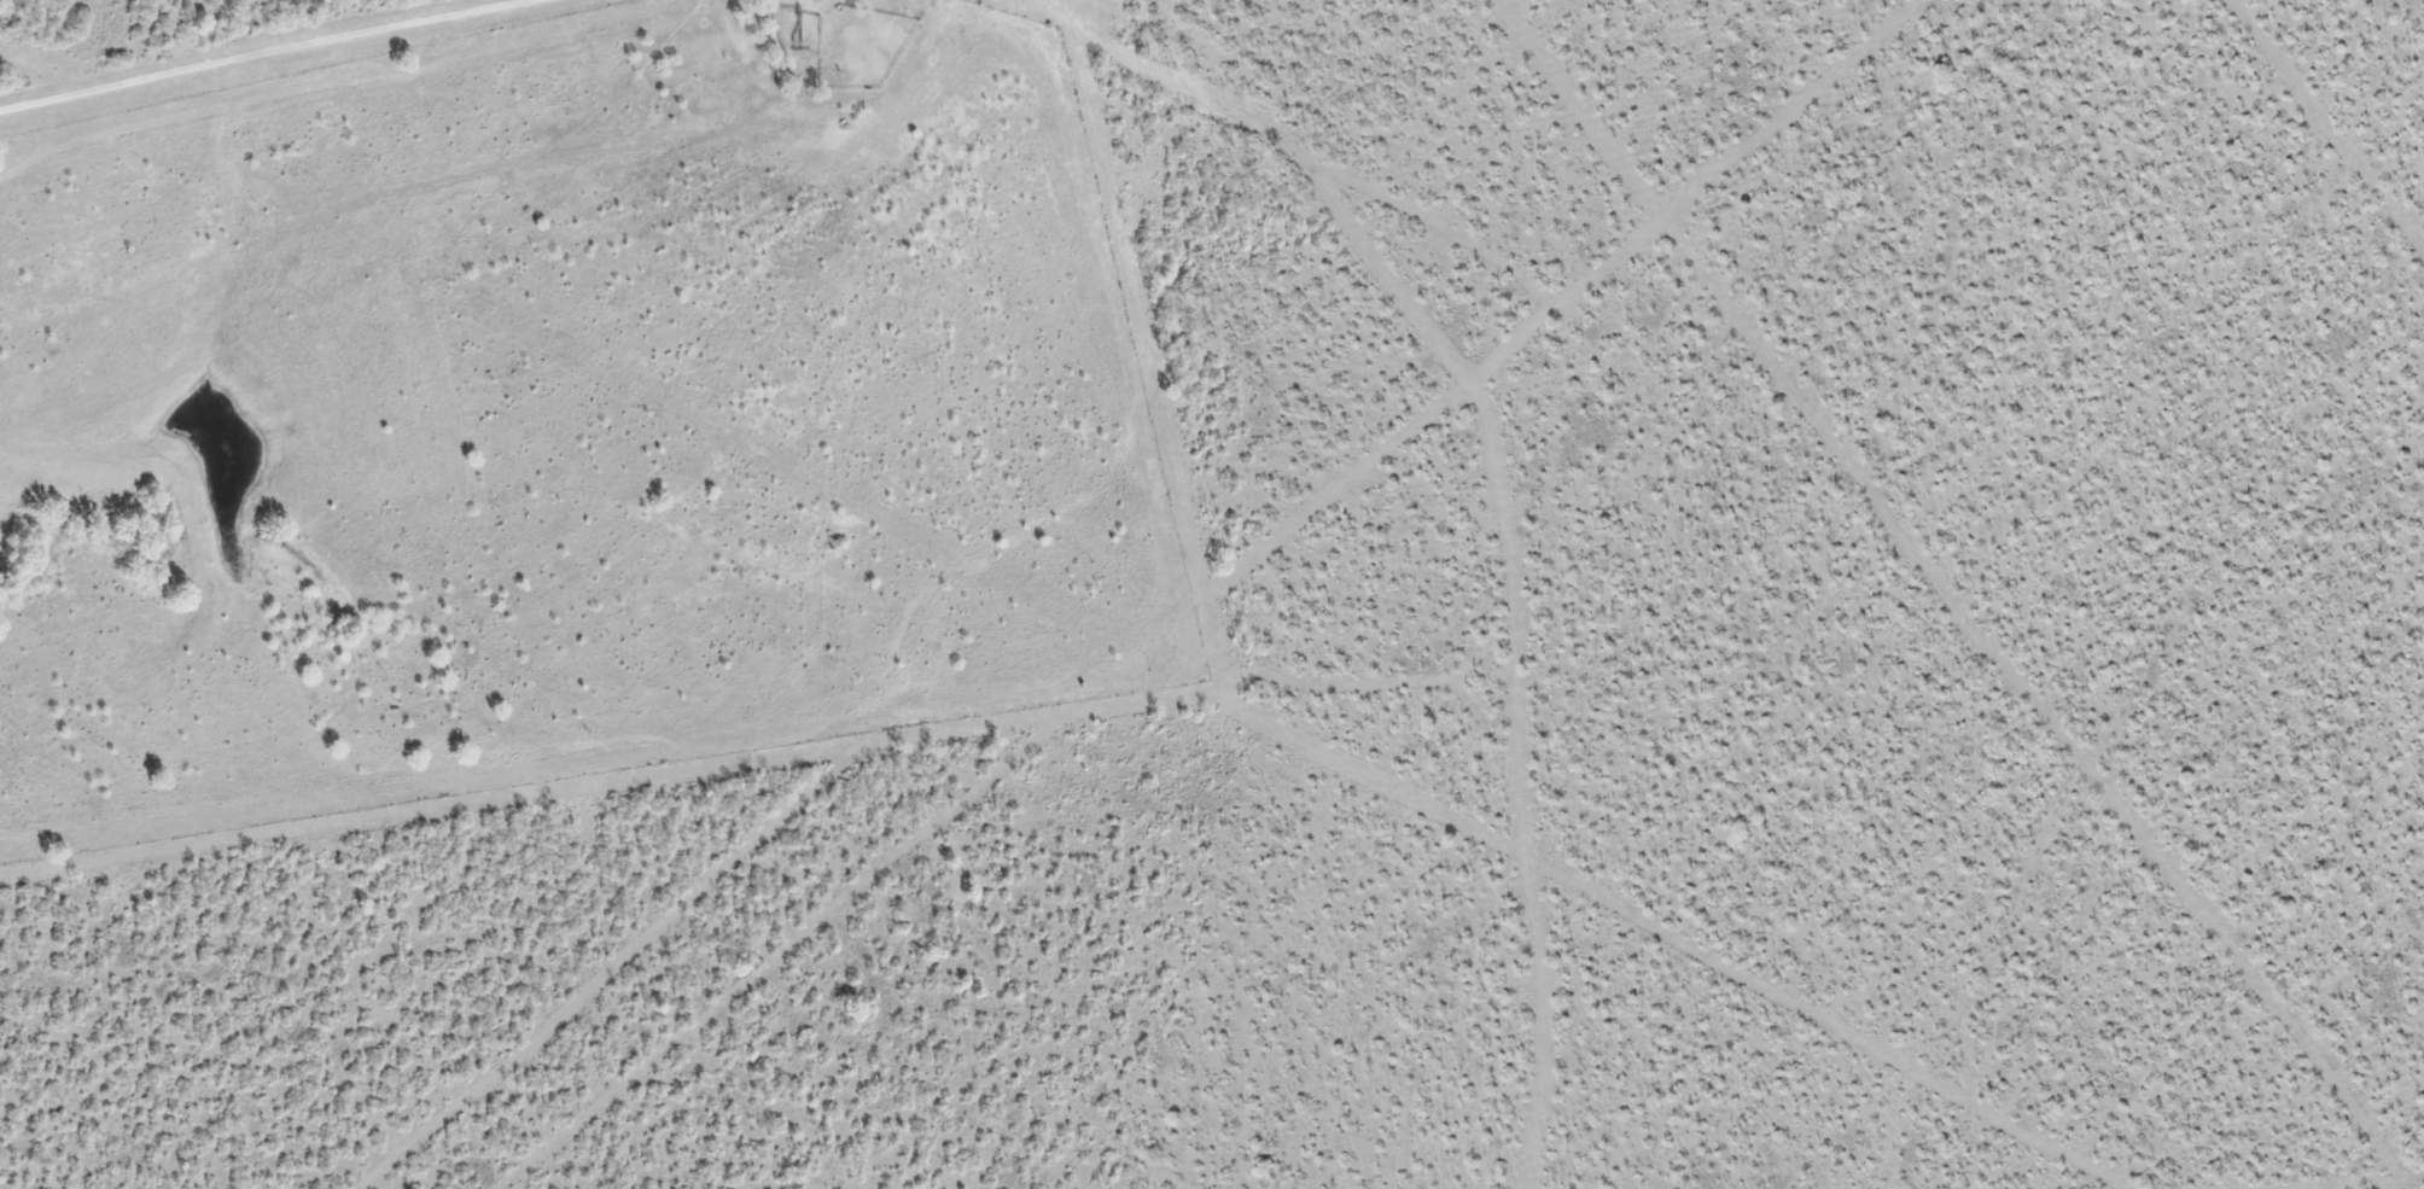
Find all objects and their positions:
road: (260, 56)

